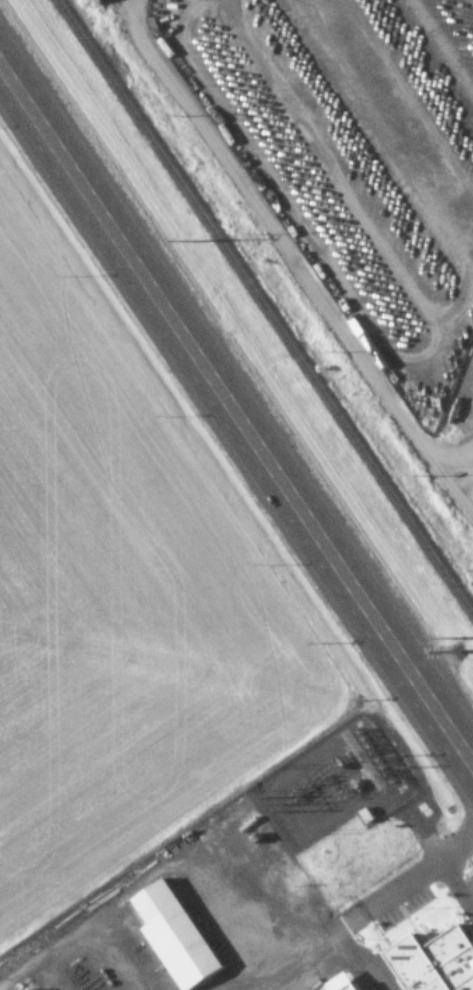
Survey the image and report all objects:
power tower: (190, 240)
railway: (265, 307)
road: (236, 420)
crop: (119, 609)
power tower: (460, 637)
power tower: (456, 648)
power substation: (330, 786)
building: (176, 924)
building: (434, 962)
building: (350, 987)
building: (31, 989)

